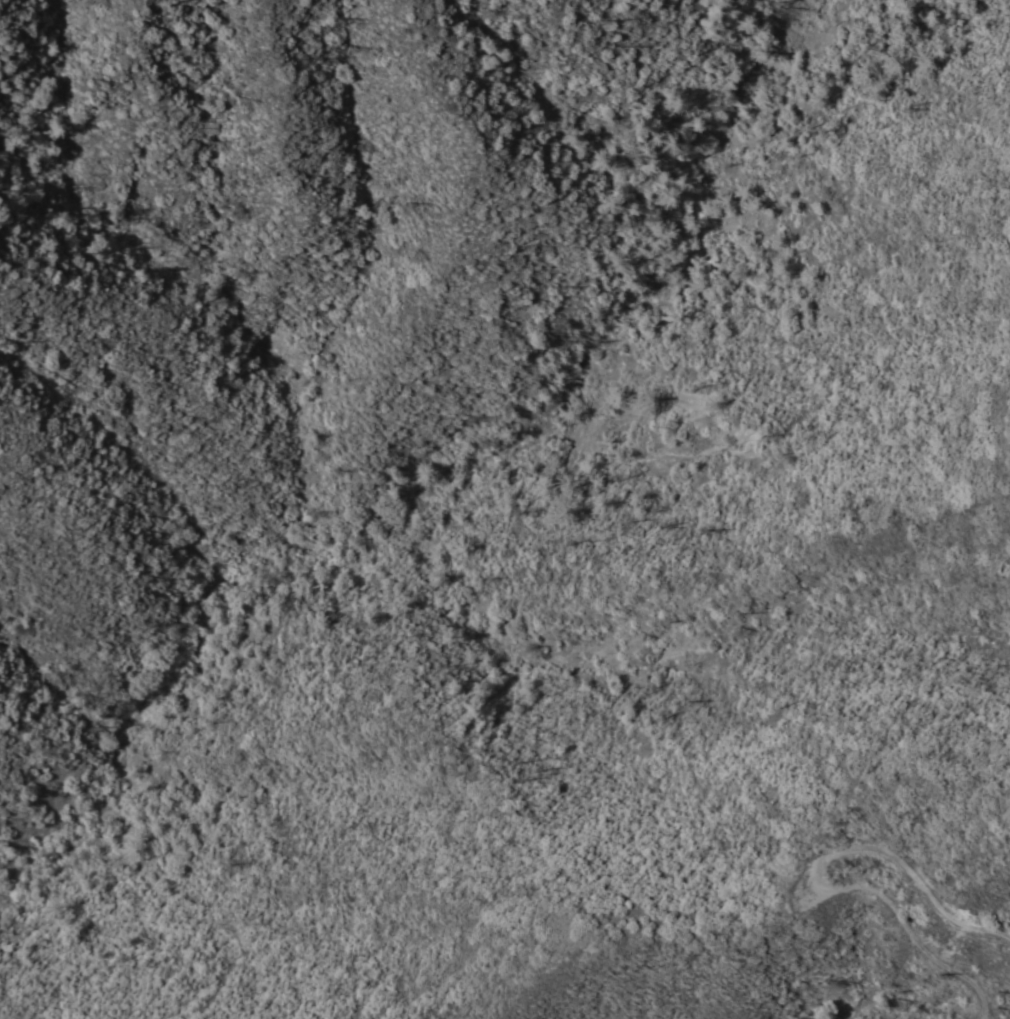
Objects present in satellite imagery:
road: (817, 886)

